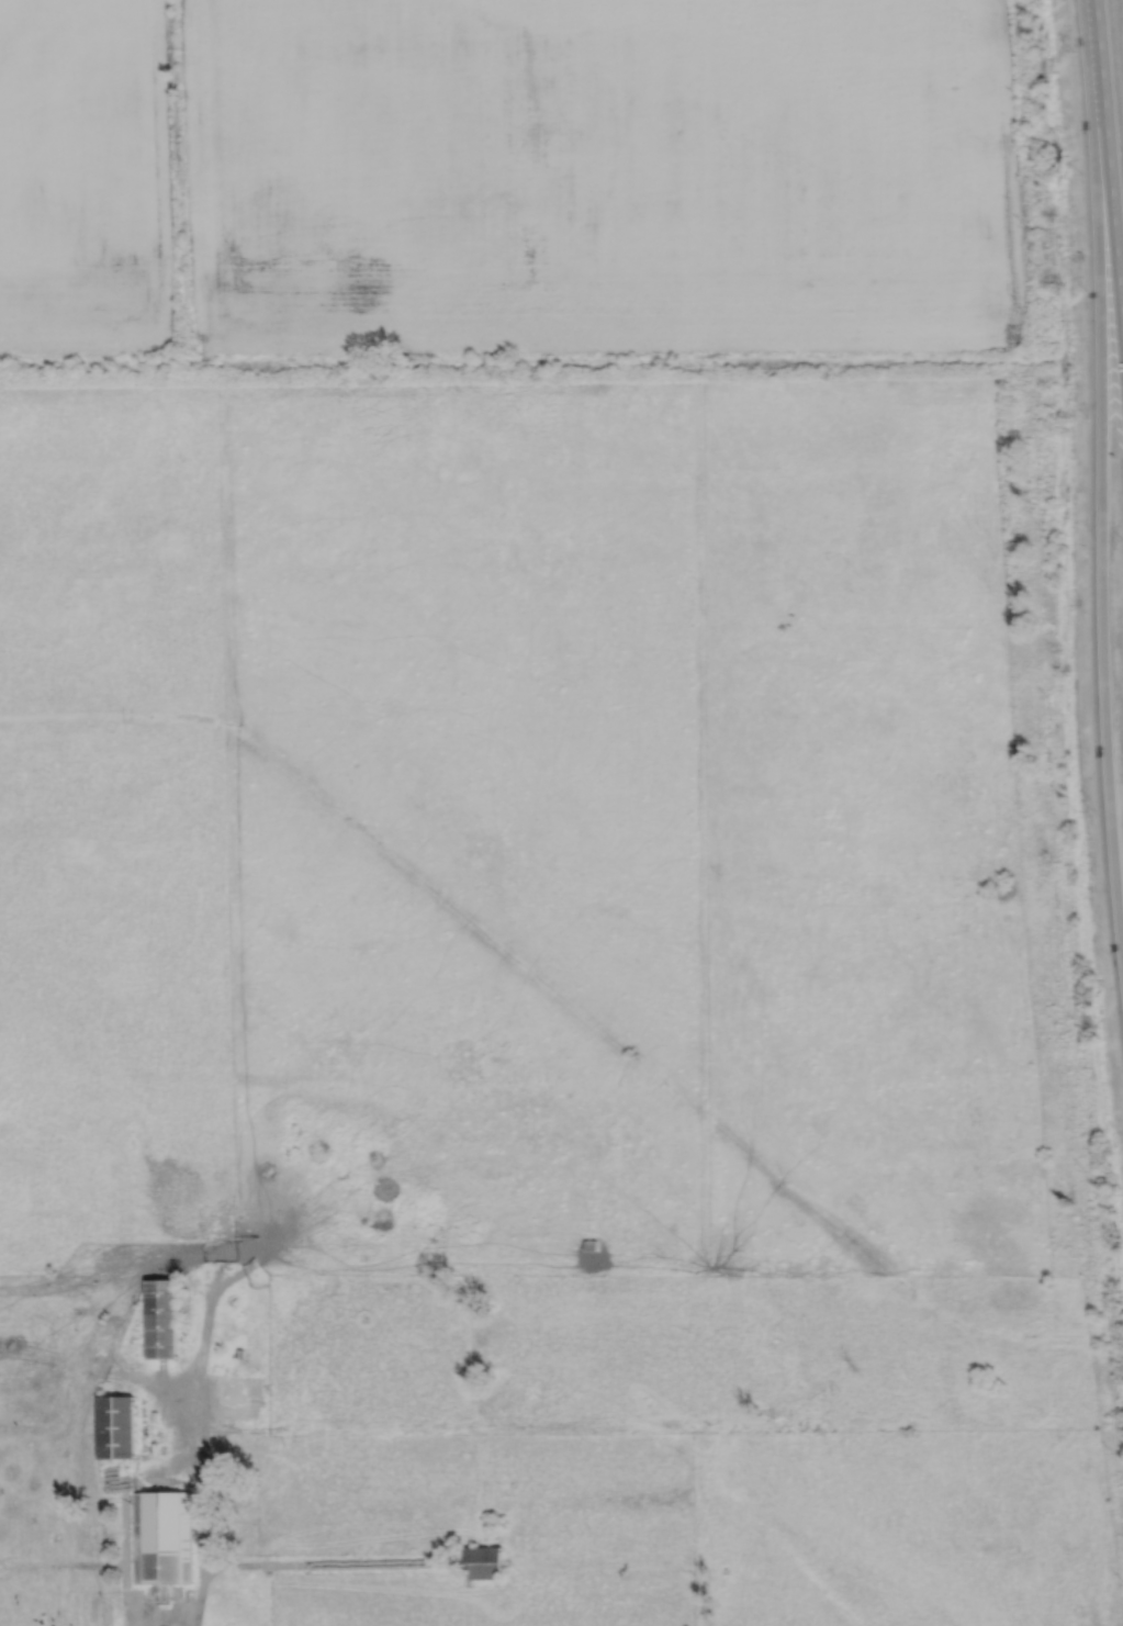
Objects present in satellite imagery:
road: (1109, 167)
crop: (600, 175)
crop: (83, 176)
road: (1101, 480)
building: (589, 1245)
building: (160, 1319)
building: (114, 1427)
building: (161, 1538)
road: (204, 1544)
building: (482, 1560)
road: (198, 1596)

